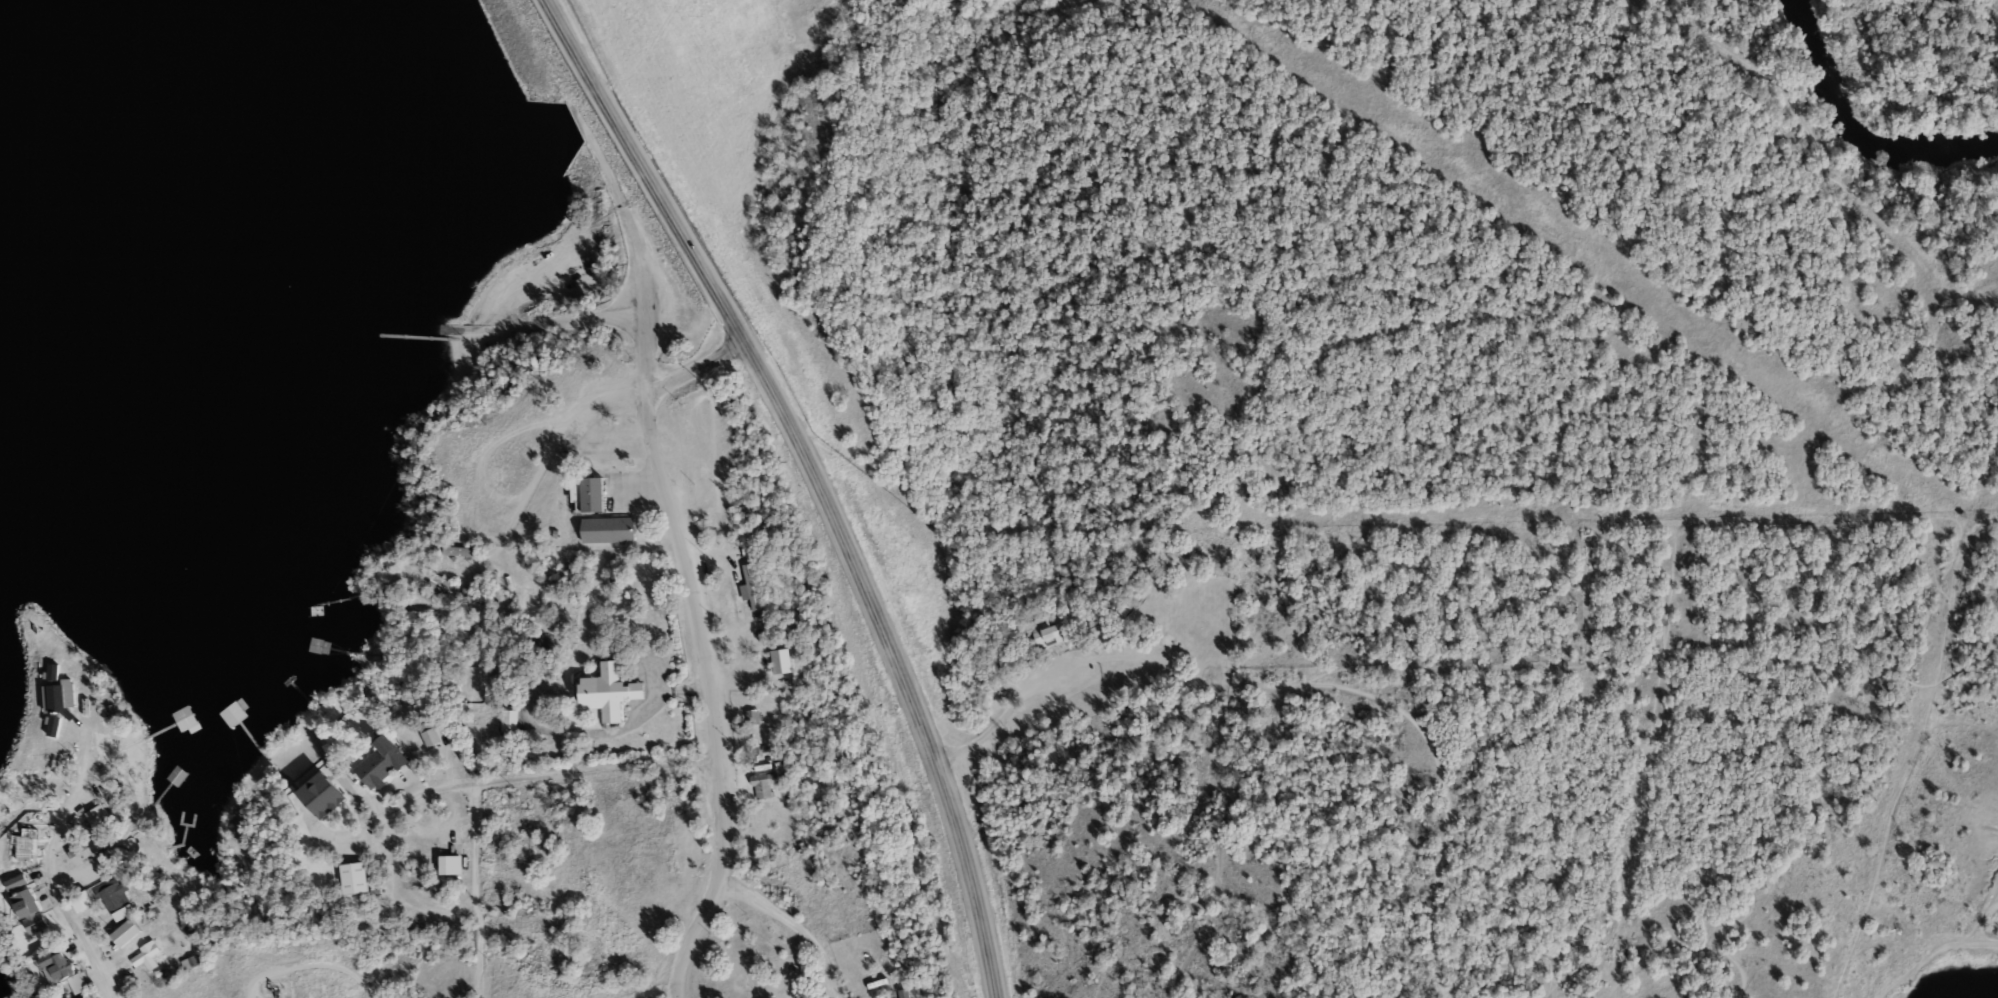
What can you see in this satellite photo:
river: (877, 1)
dam: (531, 76)
river: (1856, 131)
road: (585, 320)
pier: (414, 336)
road: (590, 406)
road: (817, 481)
building: (598, 494)
building: (612, 529)
building: (463, 550)
building: (441, 580)
building: (753, 584)
building: (469, 595)
building: (1045, 634)
road: (701, 637)
building: (316, 645)
building: (611, 691)
building: (755, 716)
road: (997, 718)
building: (185, 719)
building: (431, 732)
building: (383, 762)
road: (531, 779)
building: (765, 784)
building: (326, 794)
building: (101, 817)
building: (87, 850)
building: (452, 864)
building: (355, 877)
building: (18, 881)
road: (47, 883)
road: (472, 894)
building: (116, 899)
building: (81, 901)
building: (31, 910)
building: (137, 923)
road: (793, 928)
building: (145, 956)
road: (1433, 958)
building: (191, 963)
building: (66, 968)
building: (906, 993)
building: (79, 996)

